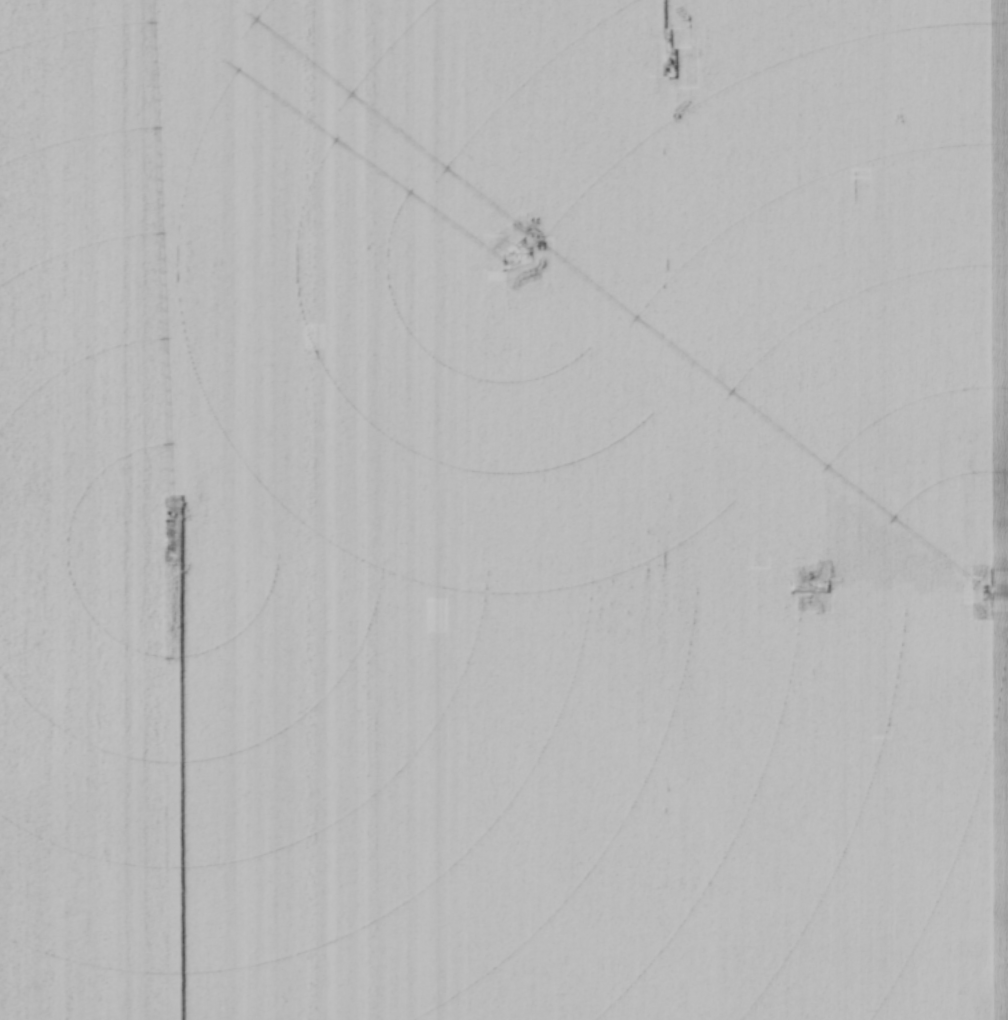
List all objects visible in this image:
power tower: (515, 251)
power tower: (822, 585)

